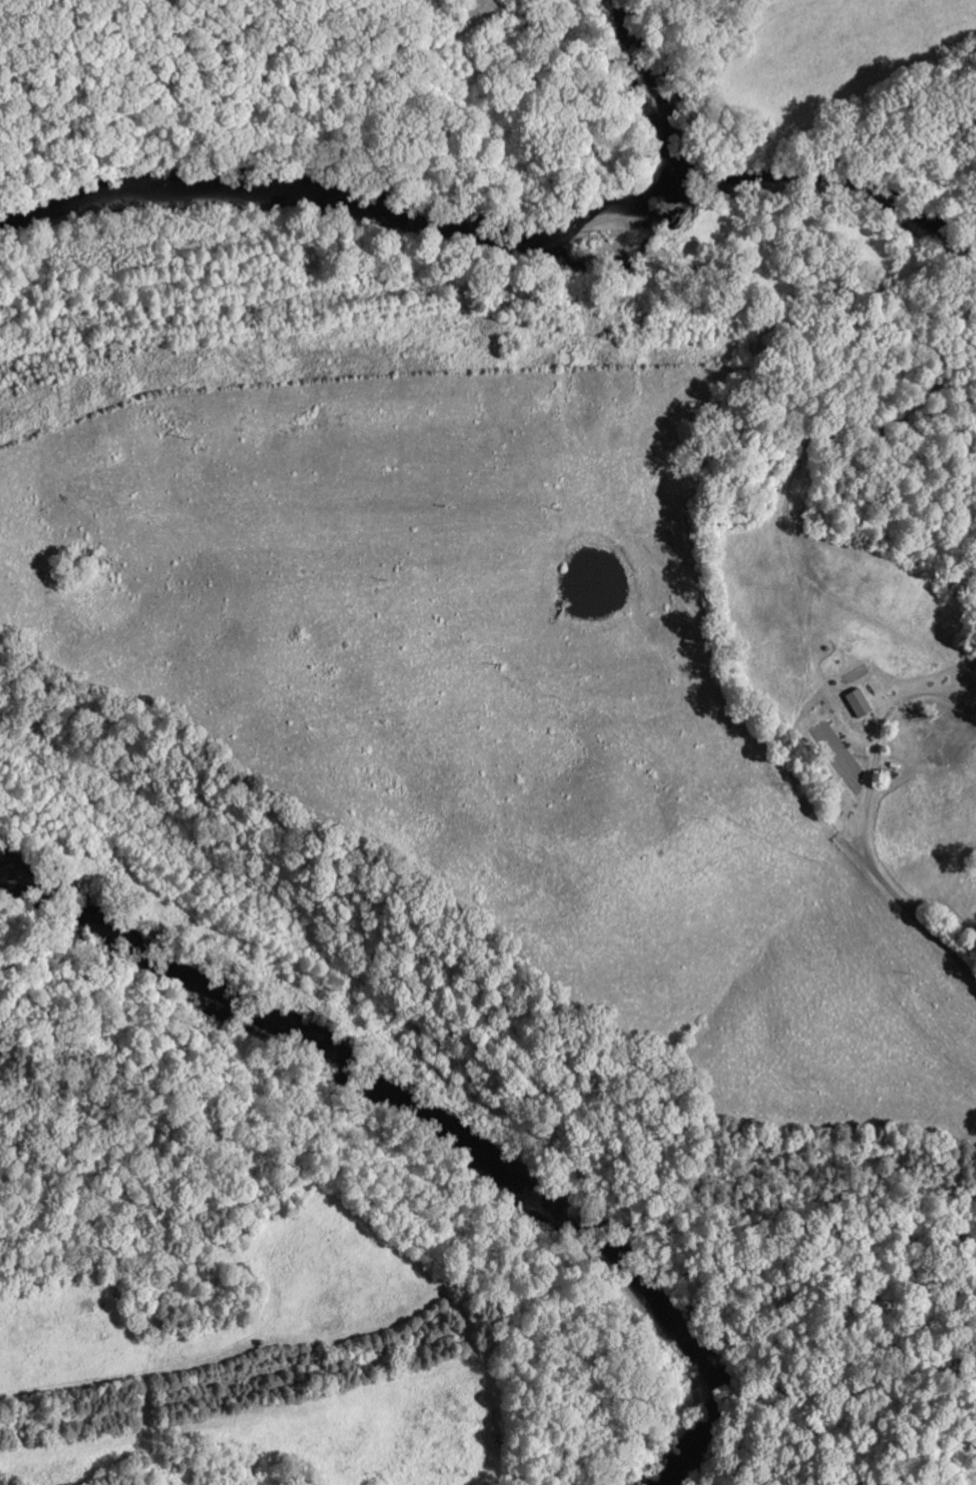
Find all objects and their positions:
building: (858, 702)
road: (317, 1359)

